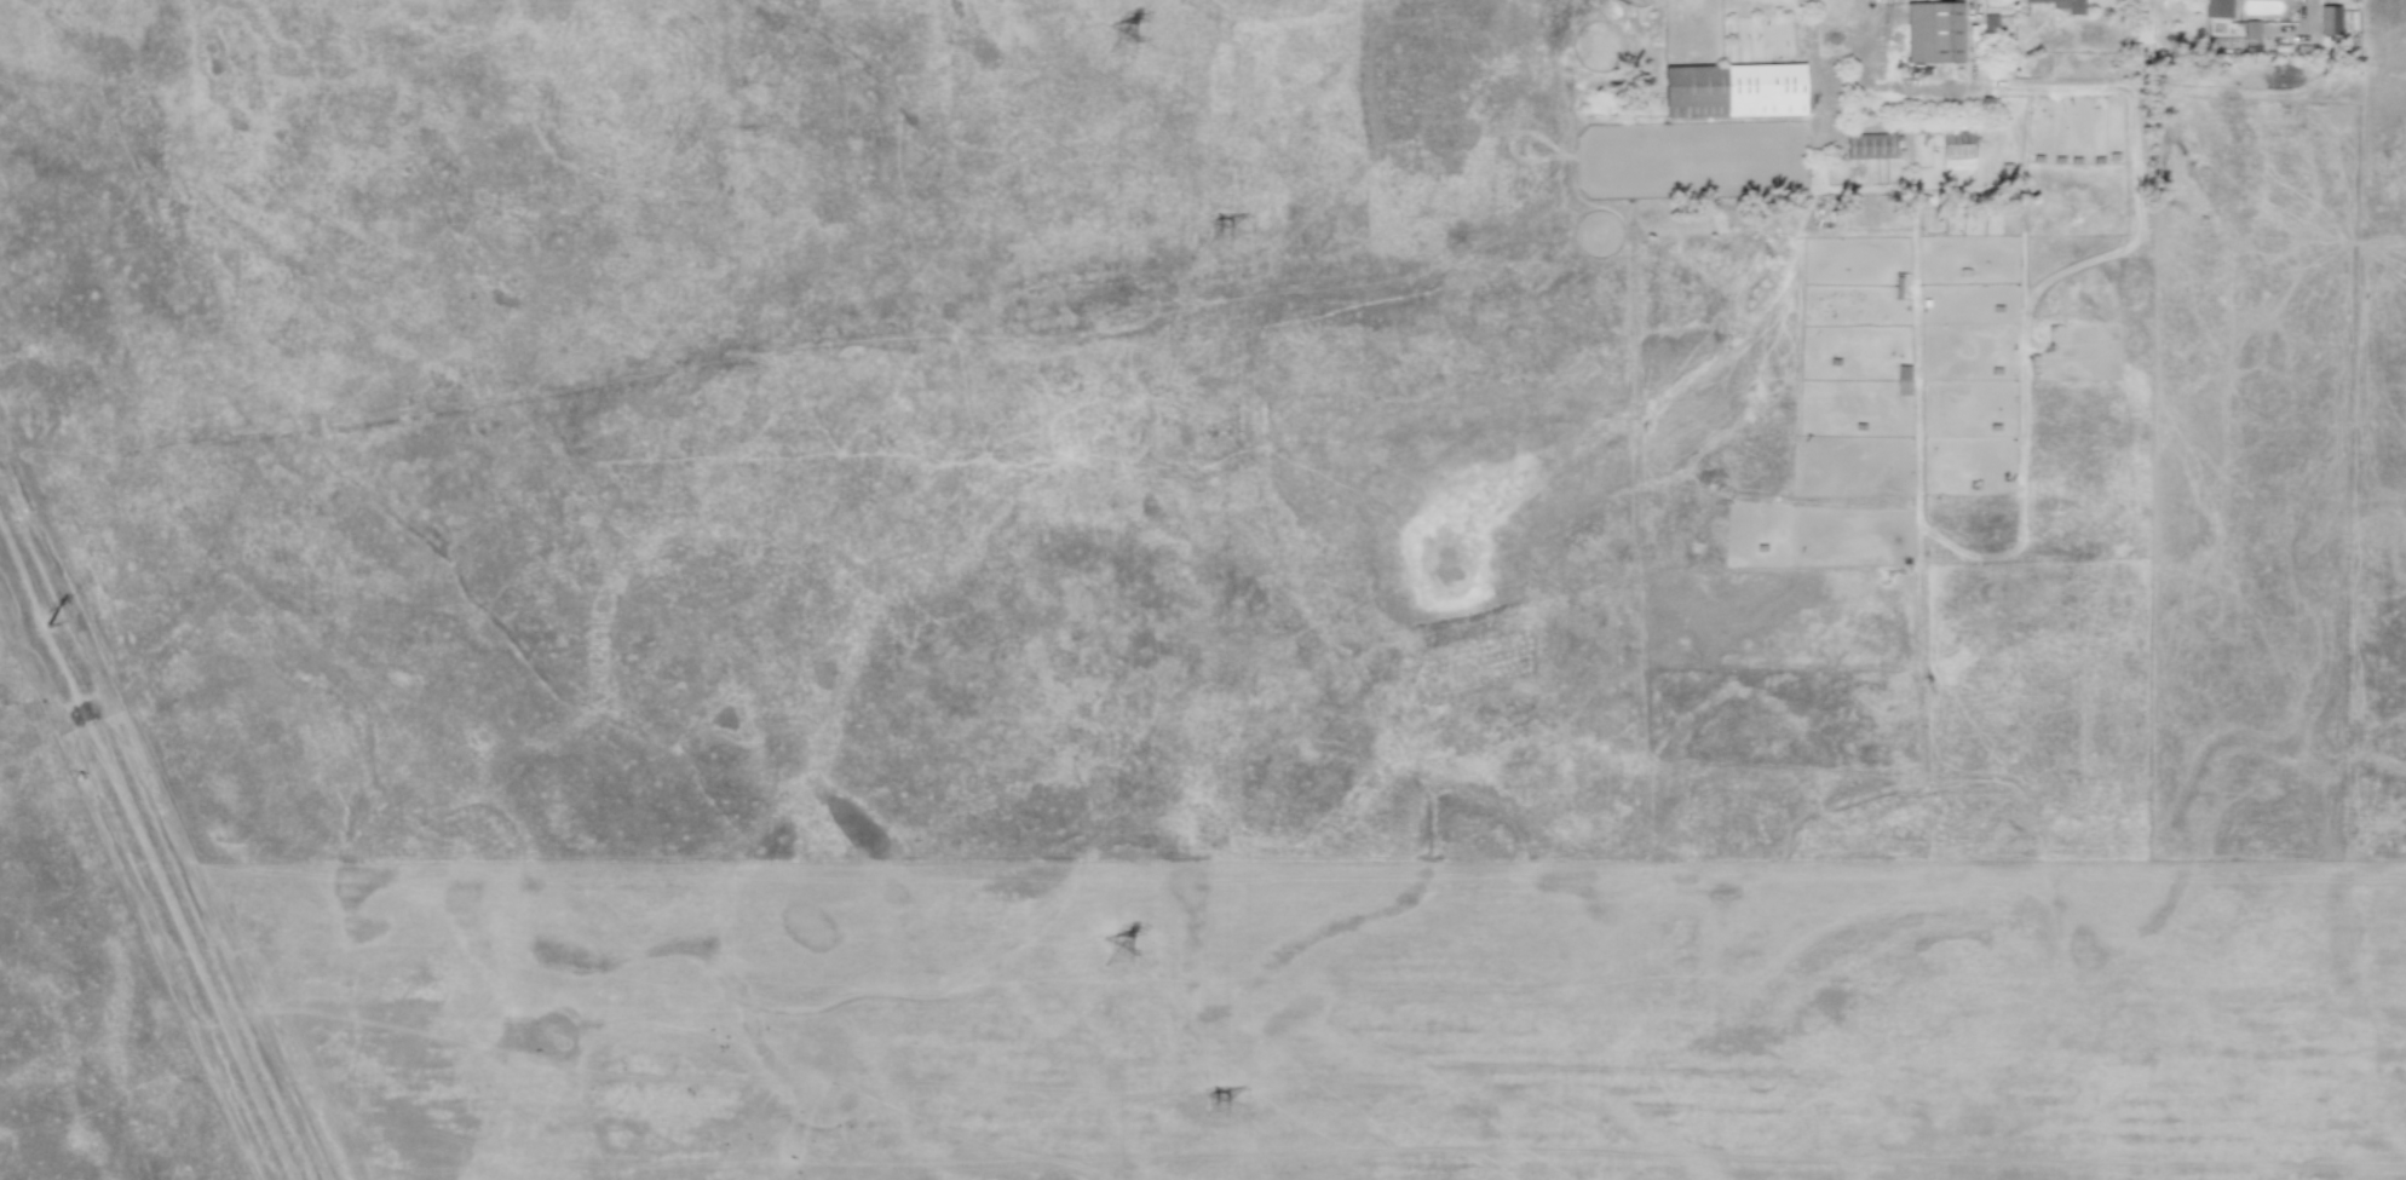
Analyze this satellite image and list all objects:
building: (2065, 5)
building: (2217, 8)
building: (2327, 19)
building: (1988, 23)
building: (1933, 31)
building: (2250, 34)
road: (1970, 35)
power tower: (1128, 42)
building: (1734, 90)
building: (1870, 146)
building: (1957, 150)
power tower: (1221, 234)
power tower: (1124, 952)
power tower: (1222, 1109)

